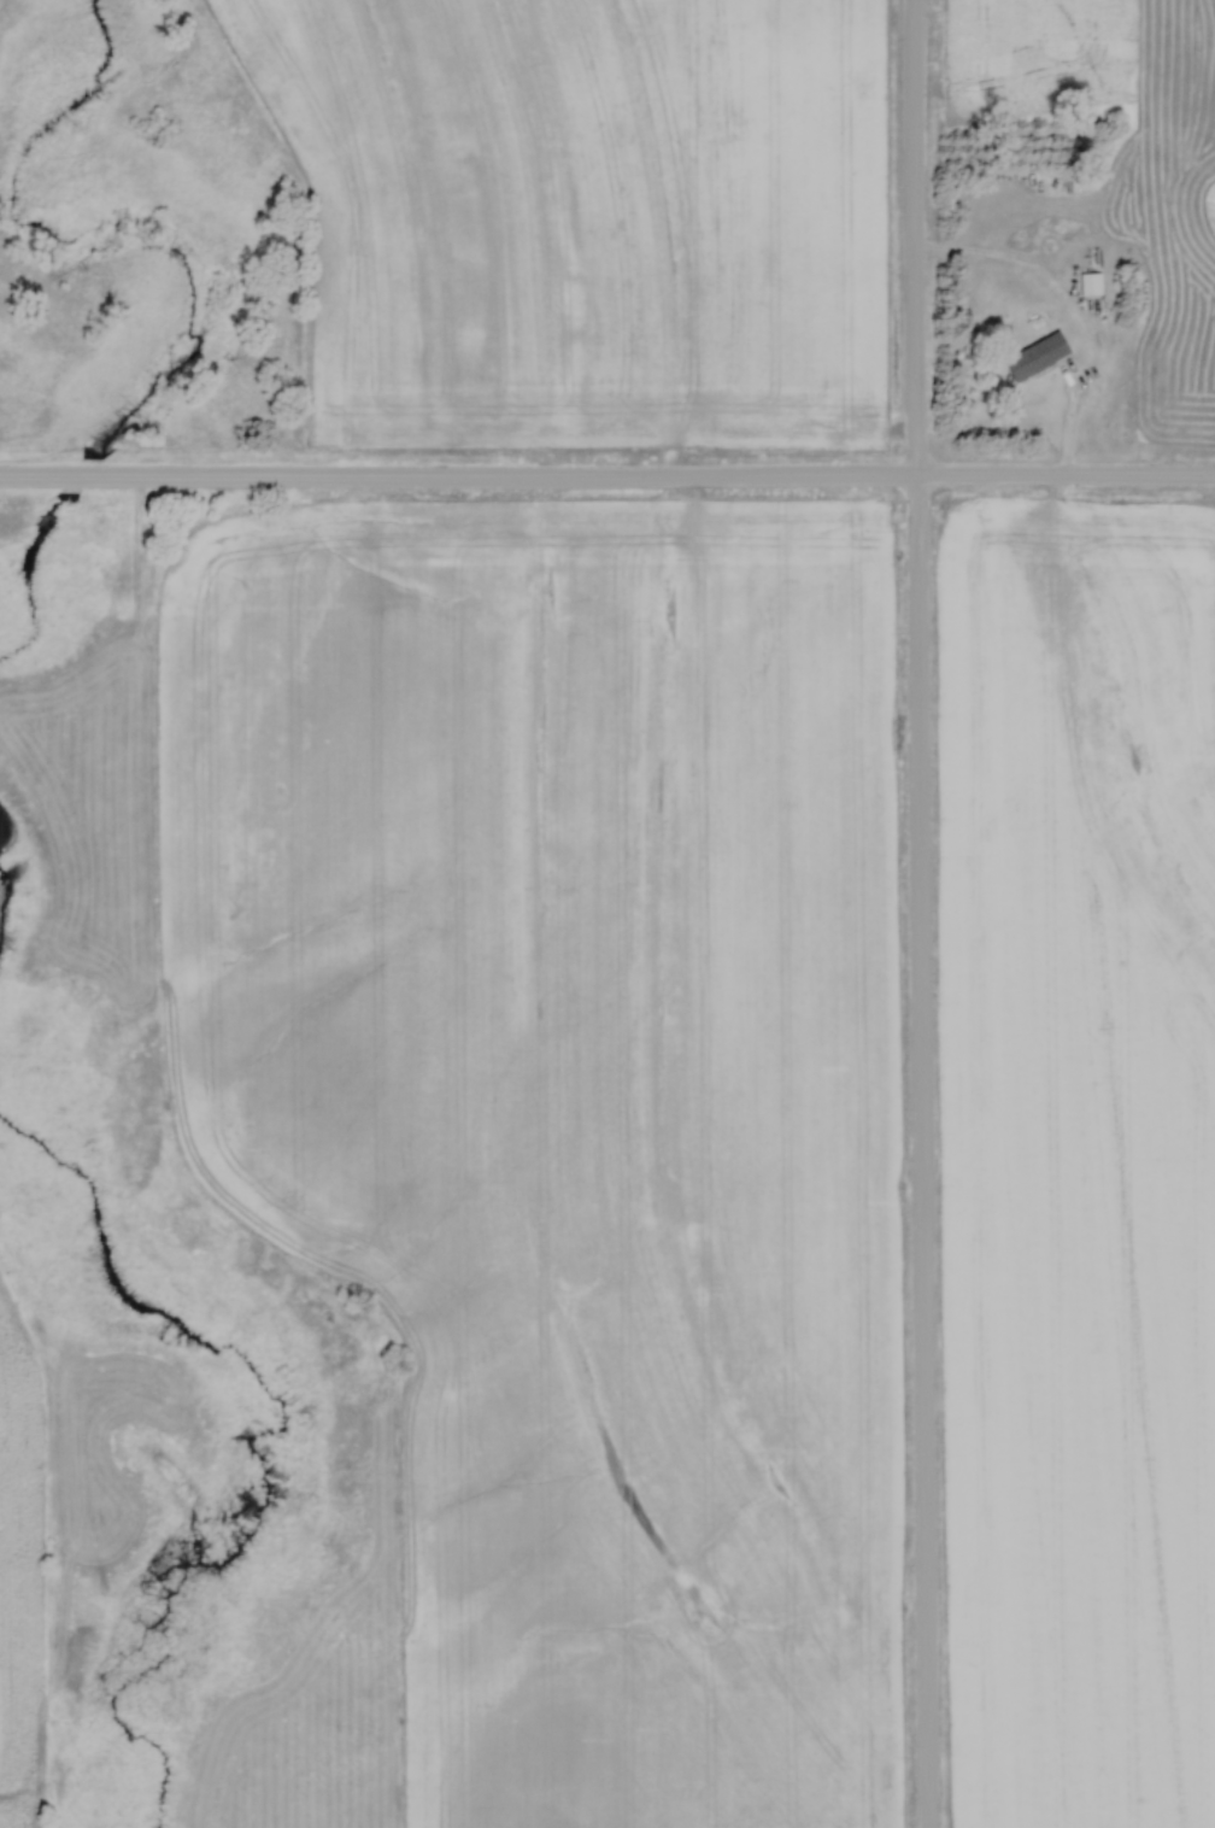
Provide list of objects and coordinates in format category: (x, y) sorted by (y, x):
building: (1094, 282)
road: (1073, 312)
building: (1043, 355)
road: (607, 471)
road: (916, 914)

